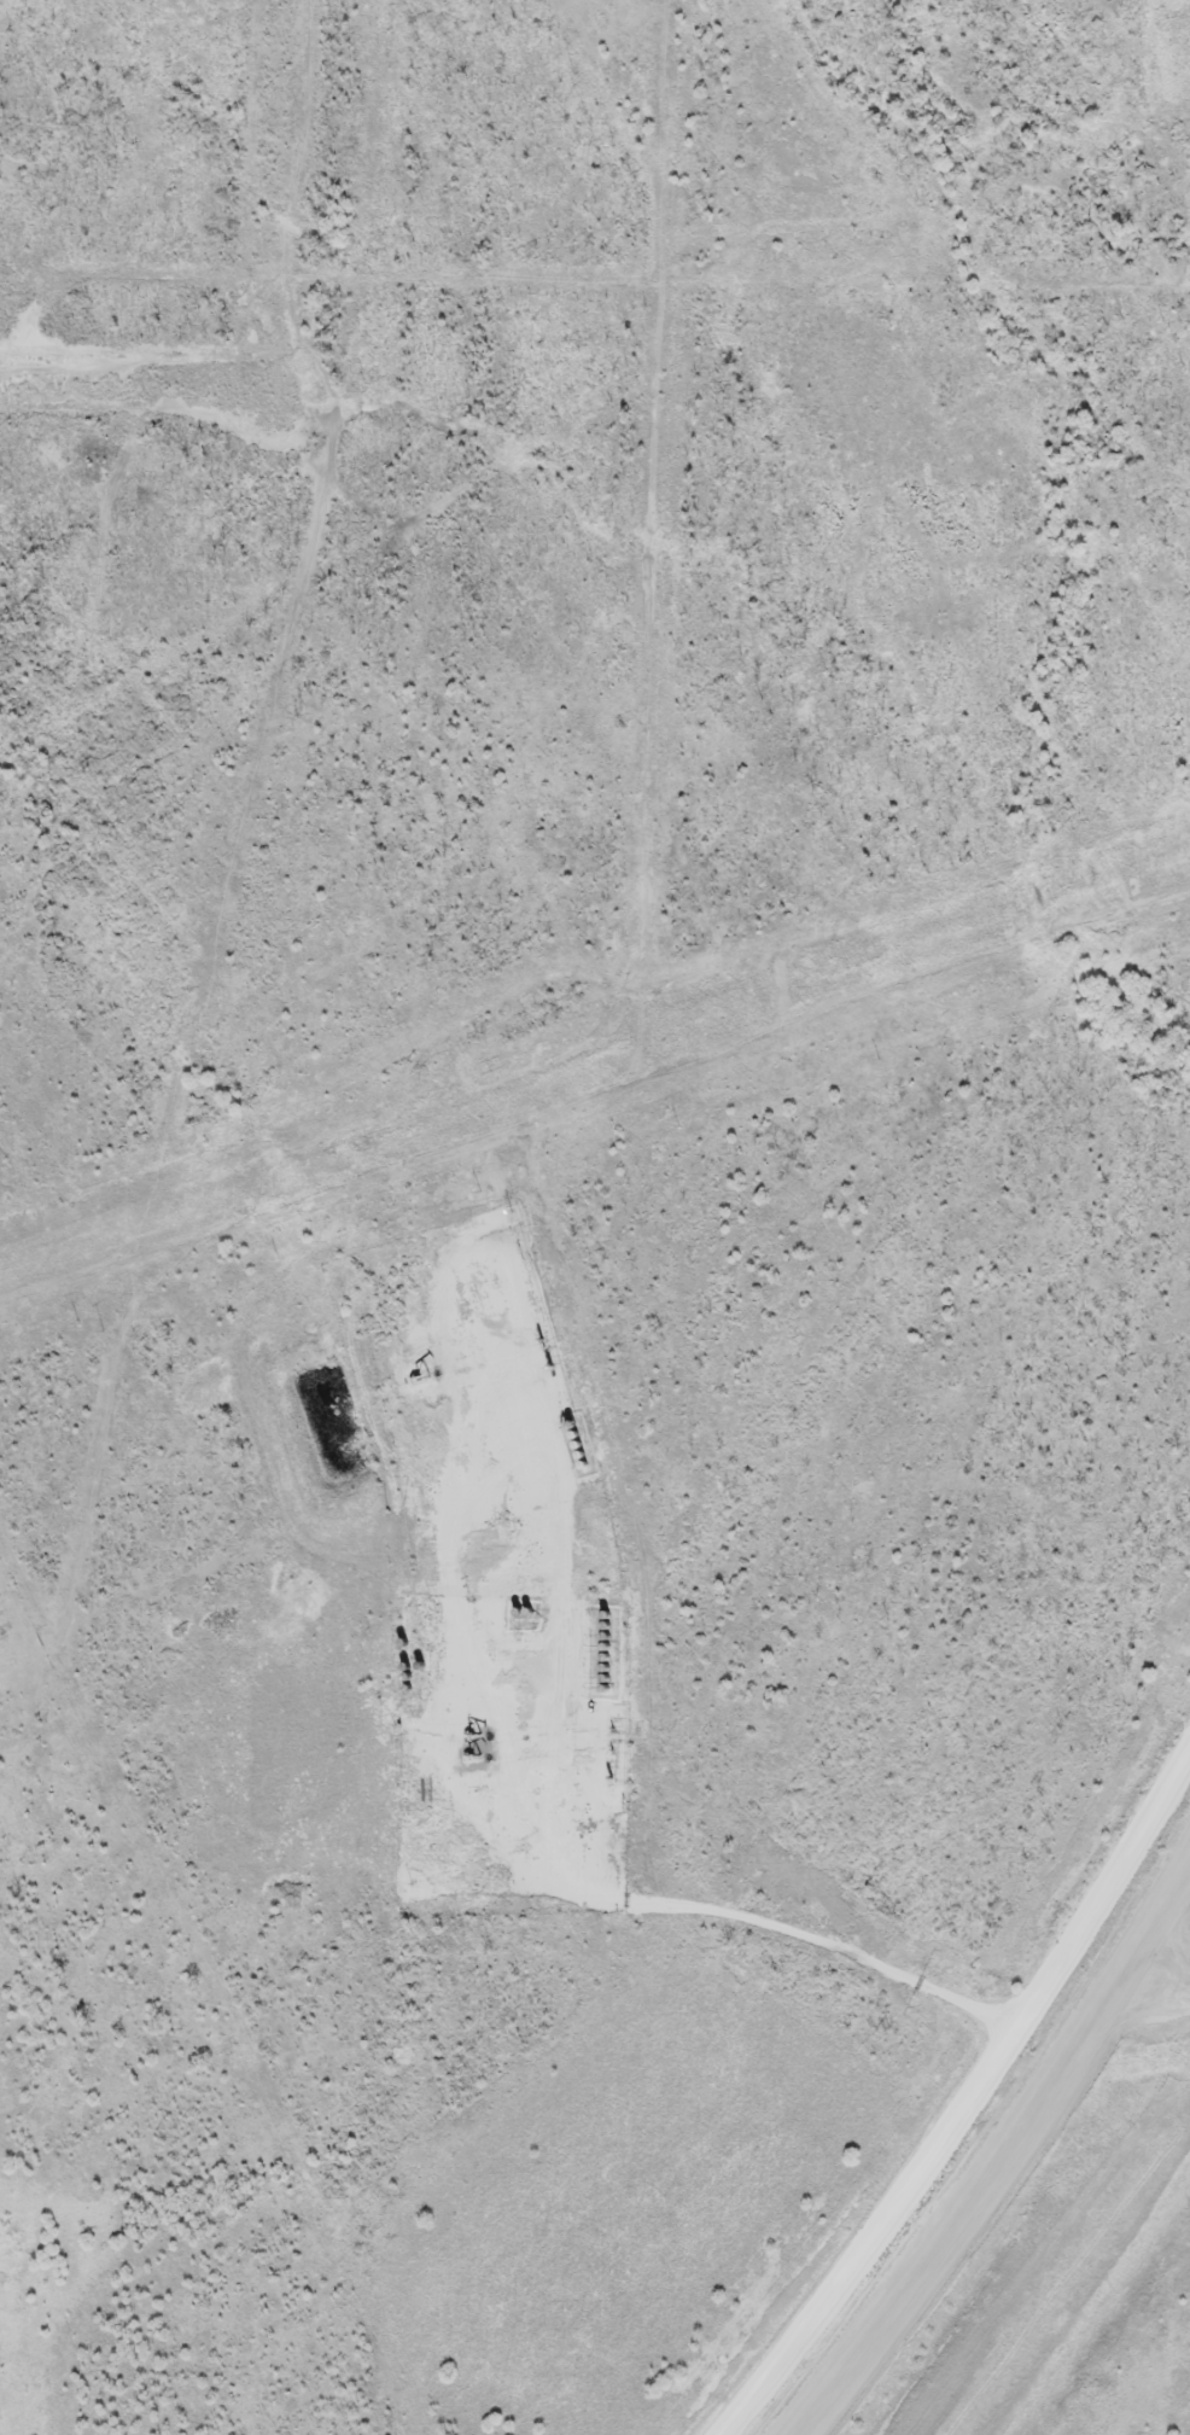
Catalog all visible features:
road: (1145, 214)
road: (724, 1915)
road: (973, 2108)
road: (1008, 2166)
quarry: (1019, 2178)

